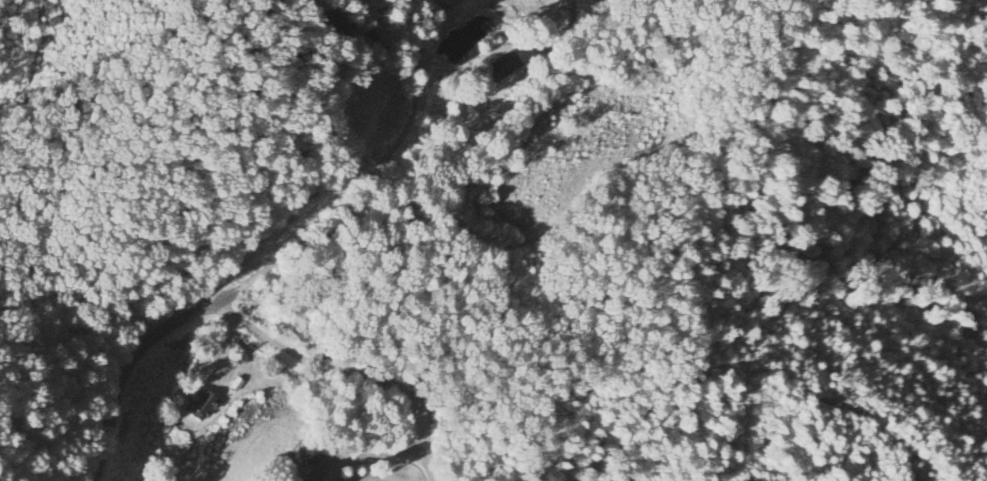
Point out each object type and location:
building: (503, 67)
road: (282, 253)
road: (345, 375)
building: (203, 405)
road: (364, 455)
building: (310, 459)

